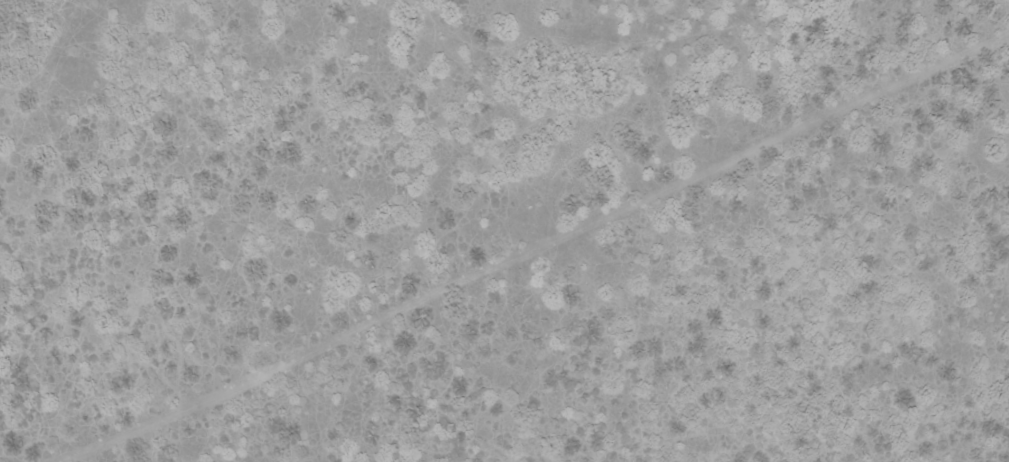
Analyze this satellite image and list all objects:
road: (31, 45)

